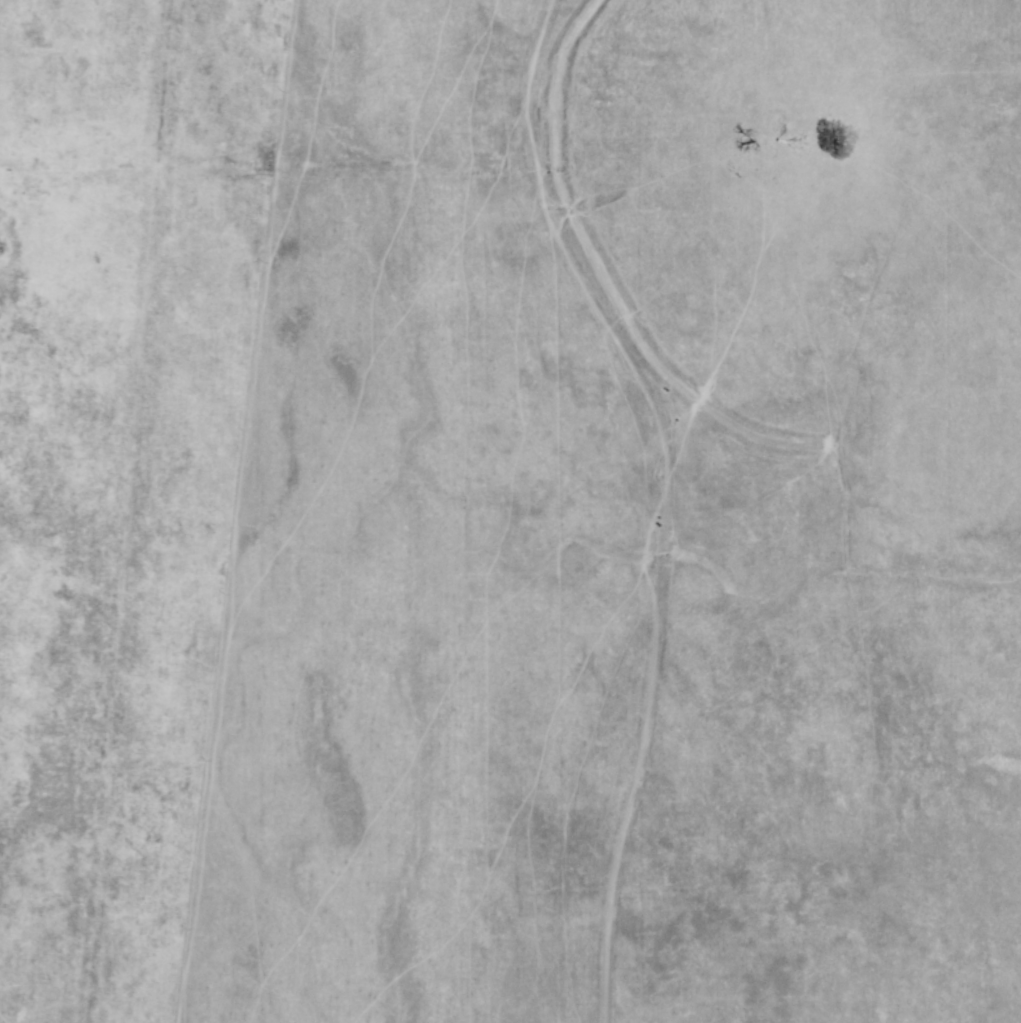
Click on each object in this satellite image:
road: (665, 495)
road: (130, 511)

